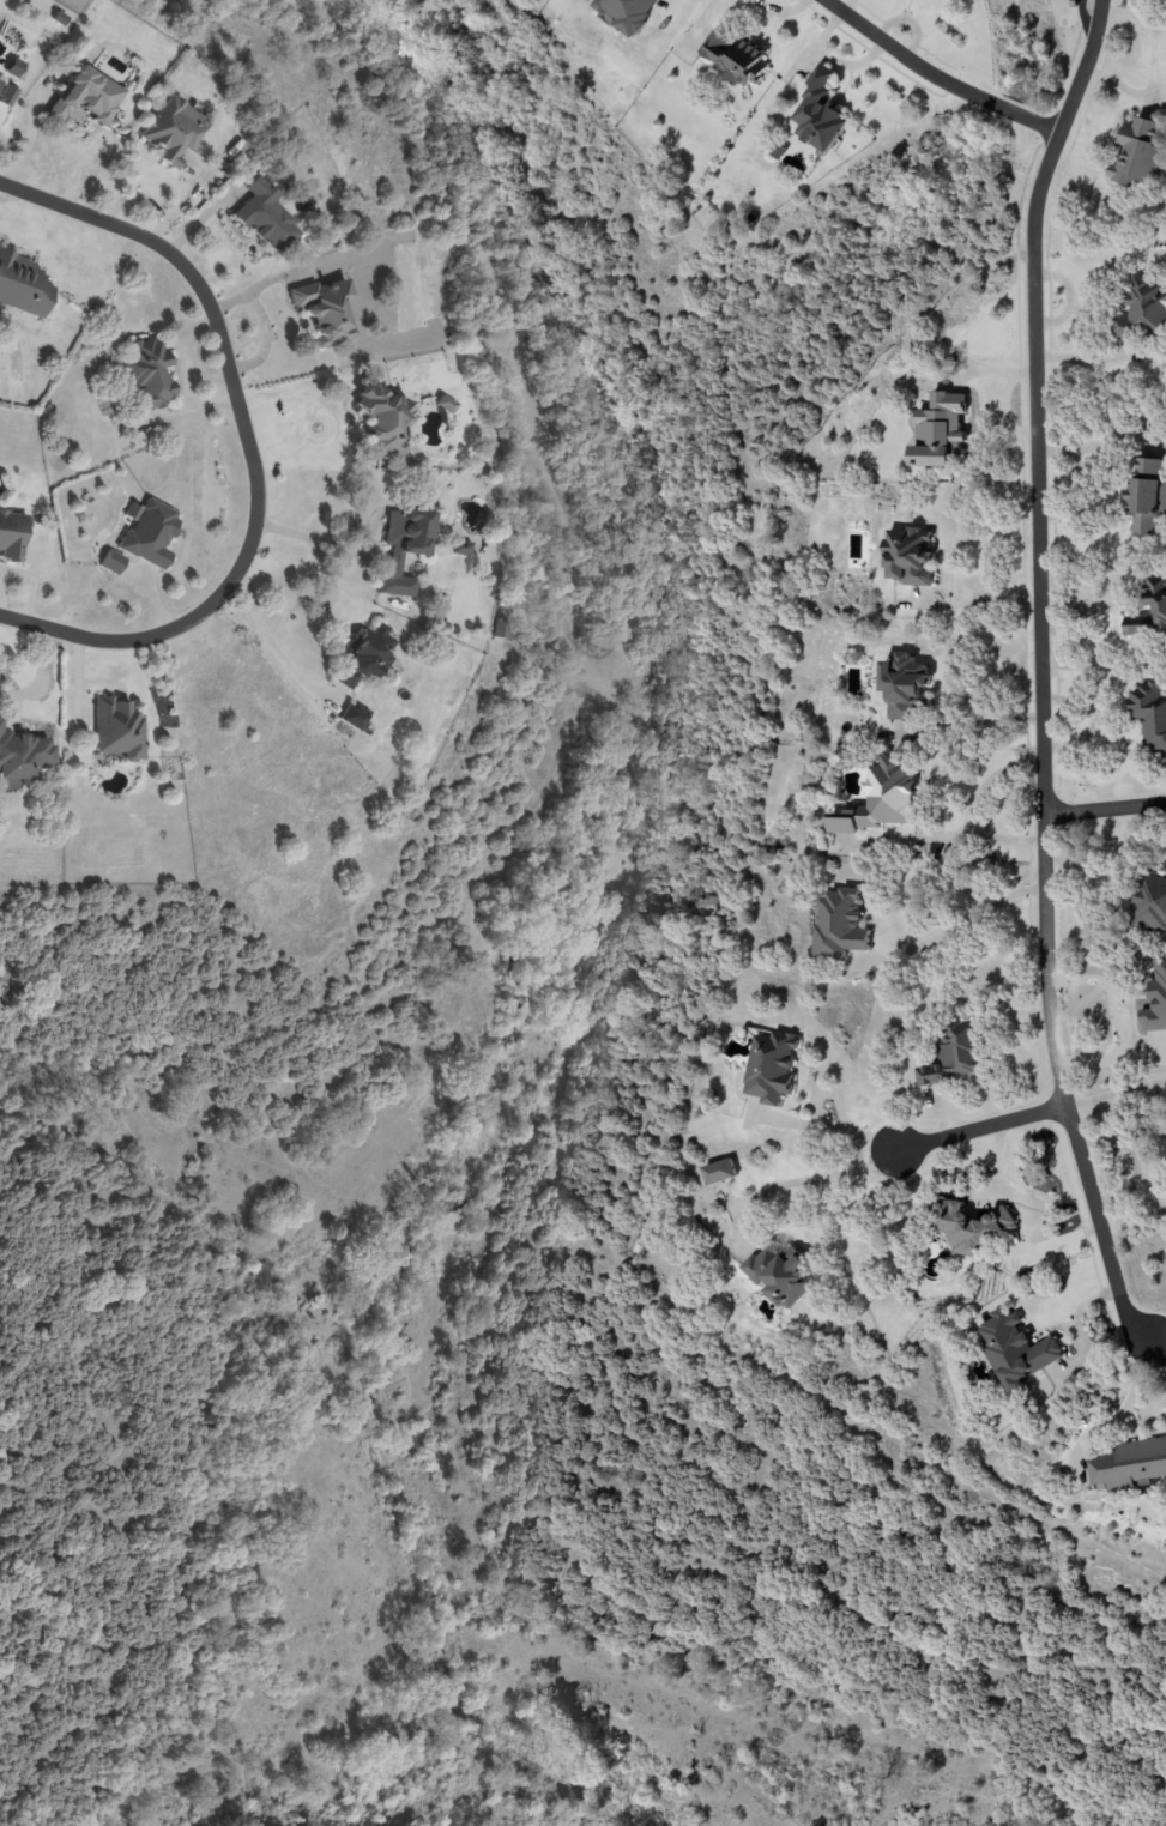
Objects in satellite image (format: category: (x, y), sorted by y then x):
building: (627, 13)
building: (733, 58)
road: (935, 78)
building: (6, 93)
building: (85, 95)
building: (818, 113)
building: (173, 129)
building: (1137, 152)
building: (265, 214)
building: (22, 284)
building: (322, 309)
building: (1143, 309)
building: (147, 373)
building: (443, 404)
building: (381, 421)
road: (250, 442)
building: (1147, 497)
building: (147, 531)
building: (11, 536)
building: (404, 546)
building: (460, 546)
road: (350, 549)
building: (908, 556)
building: (111, 561)
road: (978, 603)
building: (1150, 611)
building: (502, 628)
road: (268, 641)
building: (364, 655)
road: (1040, 672)
road: (41, 677)
building: (904, 688)
building: (1149, 714)
building: (351, 715)
building: (117, 727)
building: (23, 754)
road: (987, 780)
building: (882, 798)
road: (1105, 805)
road: (984, 836)
building: (1150, 905)
building: (839, 926)
road: (950, 931)
road: (1112, 1009)
building: (954, 1054)
building: (771, 1068)
road: (1116, 1093)
road: (981, 1127)
building: (719, 1172)
road: (798, 1181)
building: (967, 1226)
road: (506, 1246)
building: (780, 1275)
road: (1079, 1332)
road: (1156, 1337)
building: (1015, 1350)
road: (224, 1464)
building: (1129, 1464)

